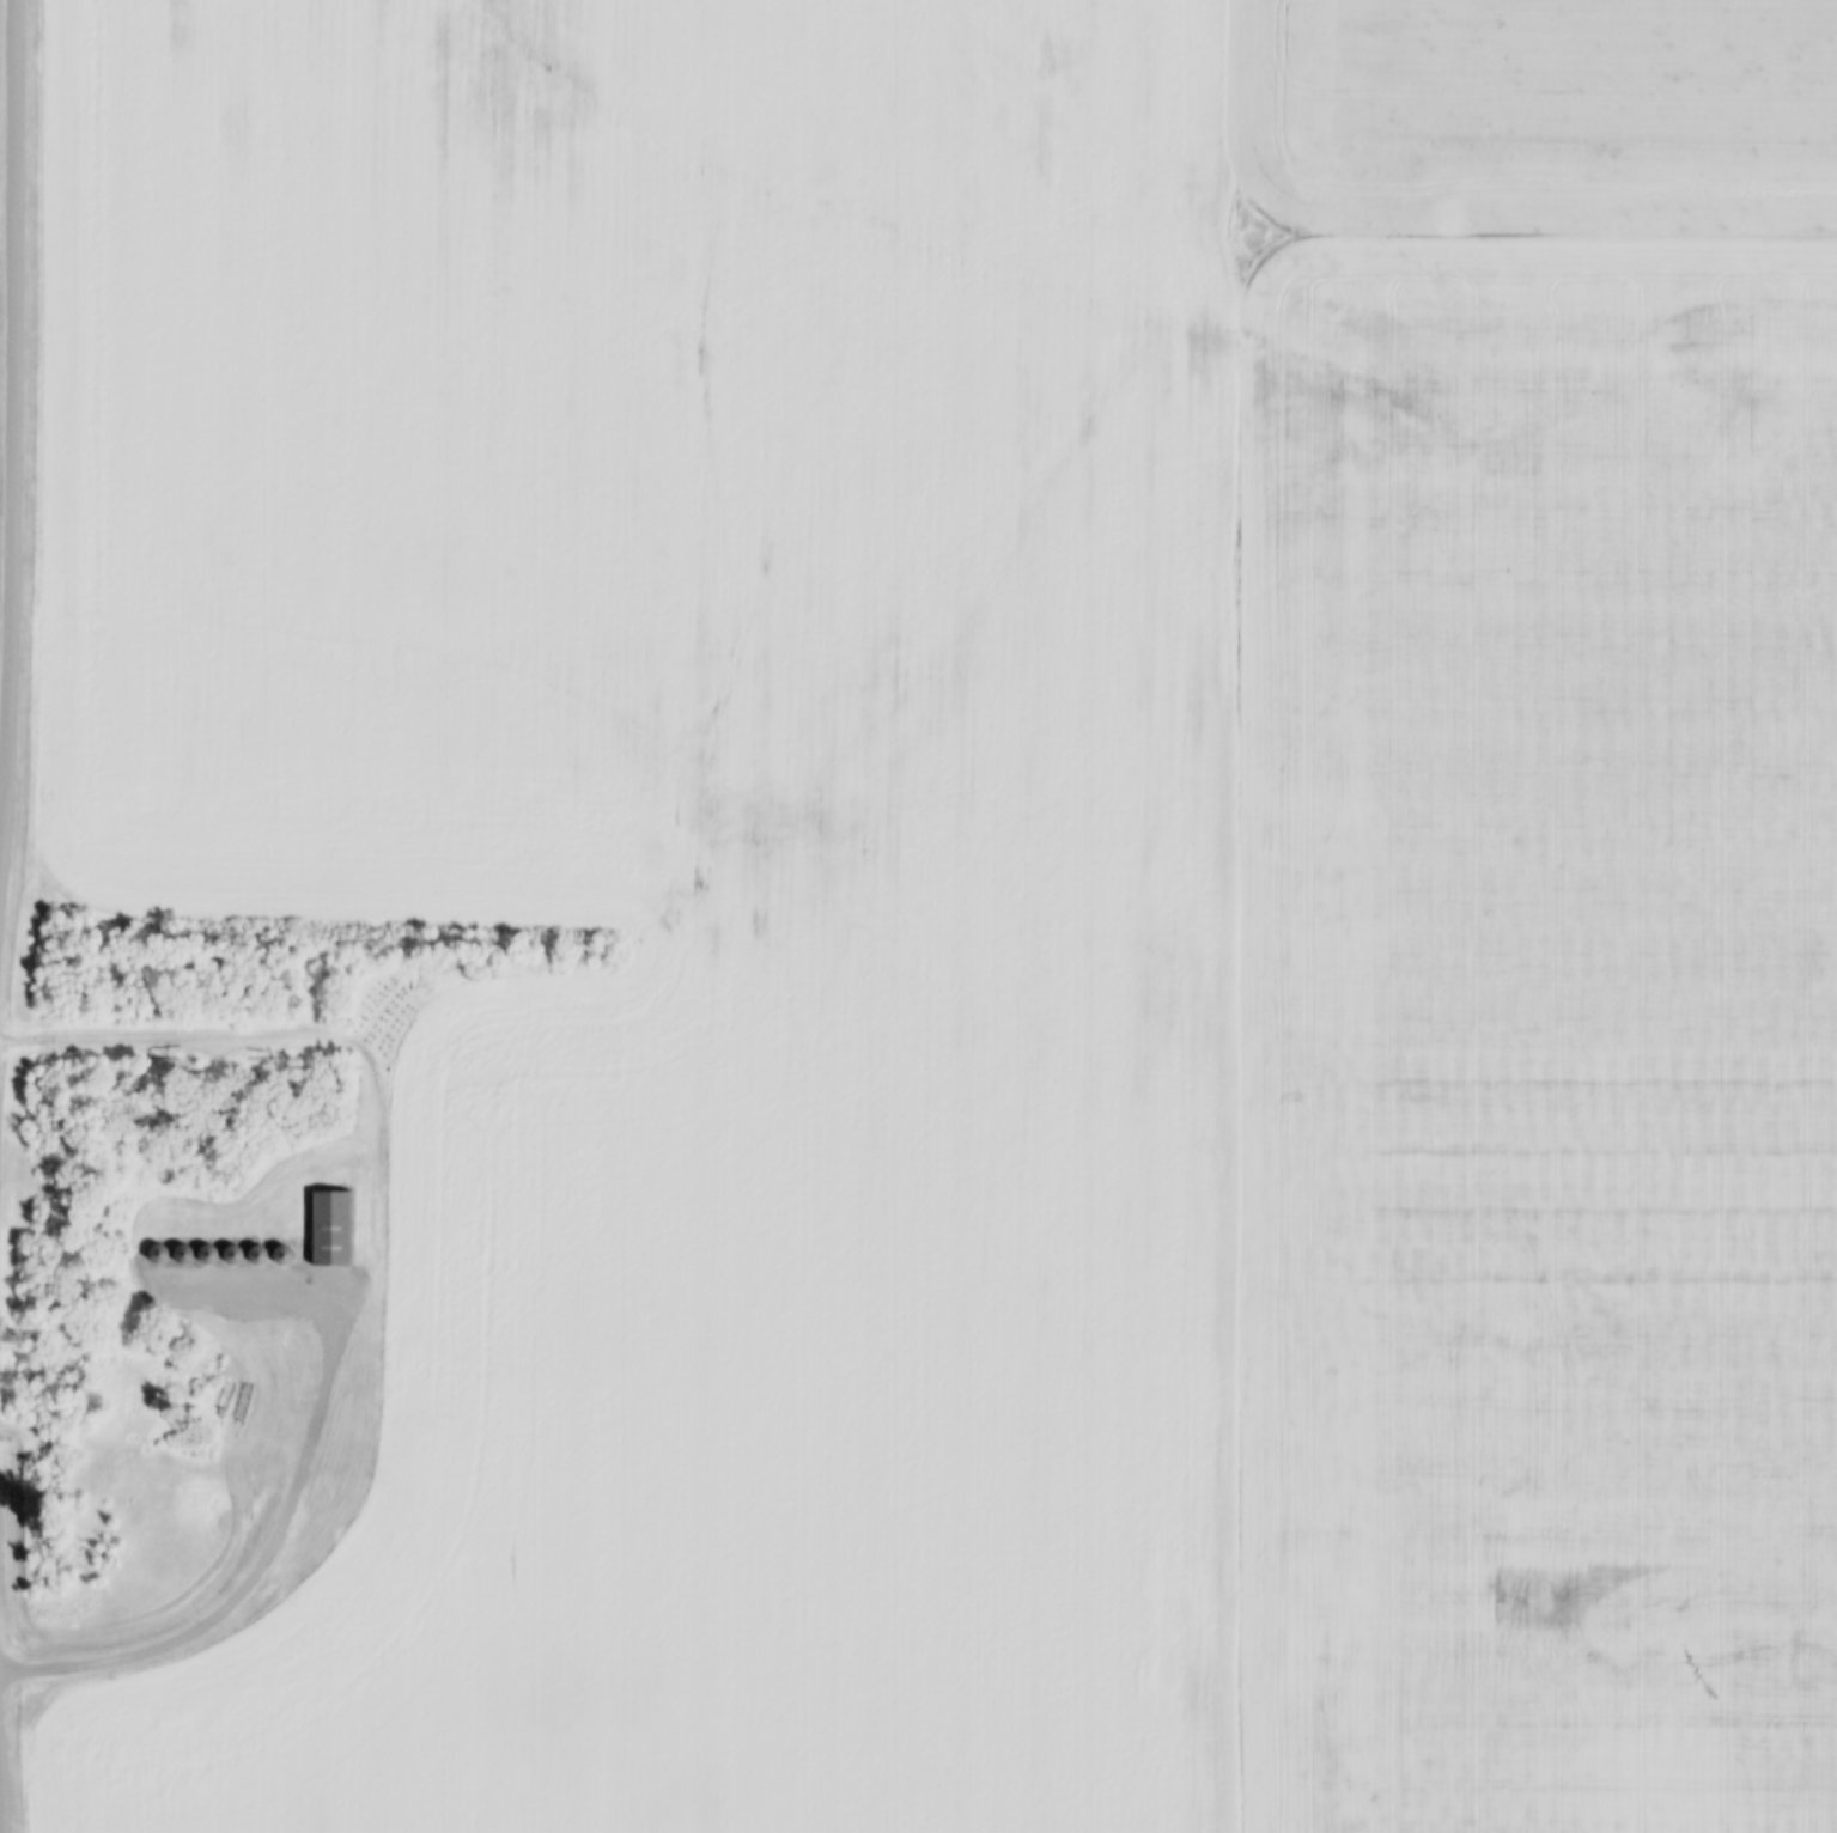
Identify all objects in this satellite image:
road: (22, 452)
road: (317, 1028)
building: (330, 1229)
road: (305, 1468)
road: (5, 1785)

